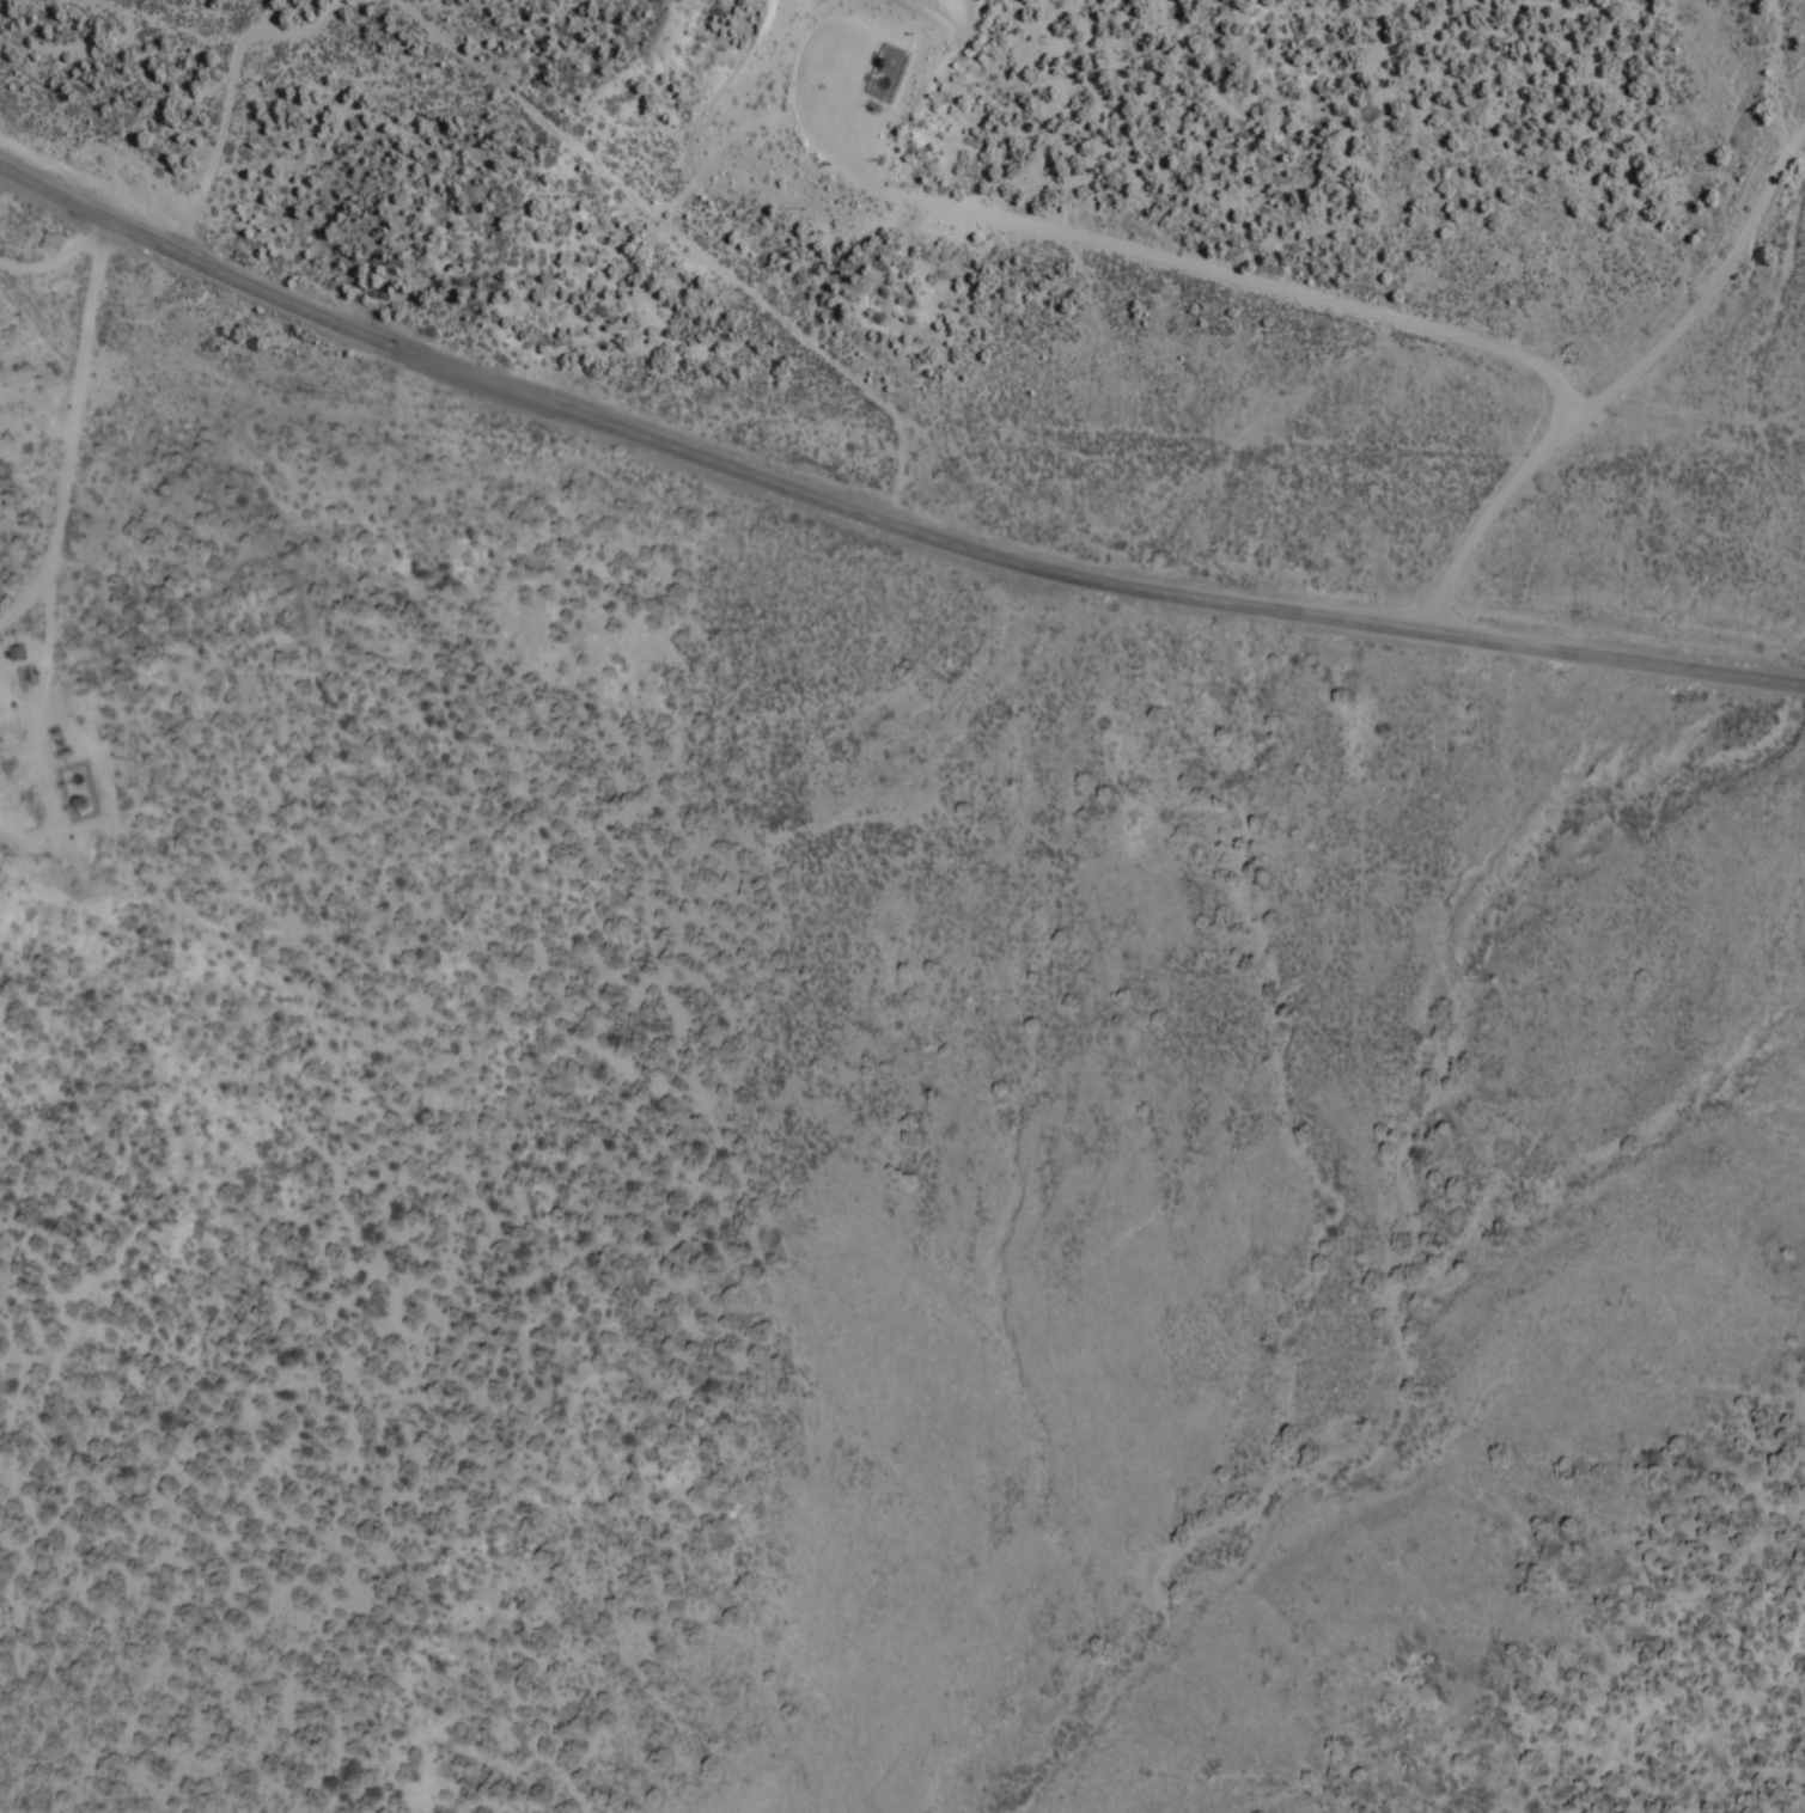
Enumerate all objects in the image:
road: (234, 93)
road: (1054, 225)
road: (696, 238)
road: (60, 260)
road: (1623, 380)
road: (84, 390)
road: (876, 511)
road: (31, 597)
road: (43, 727)
river: (1417, 1239)

